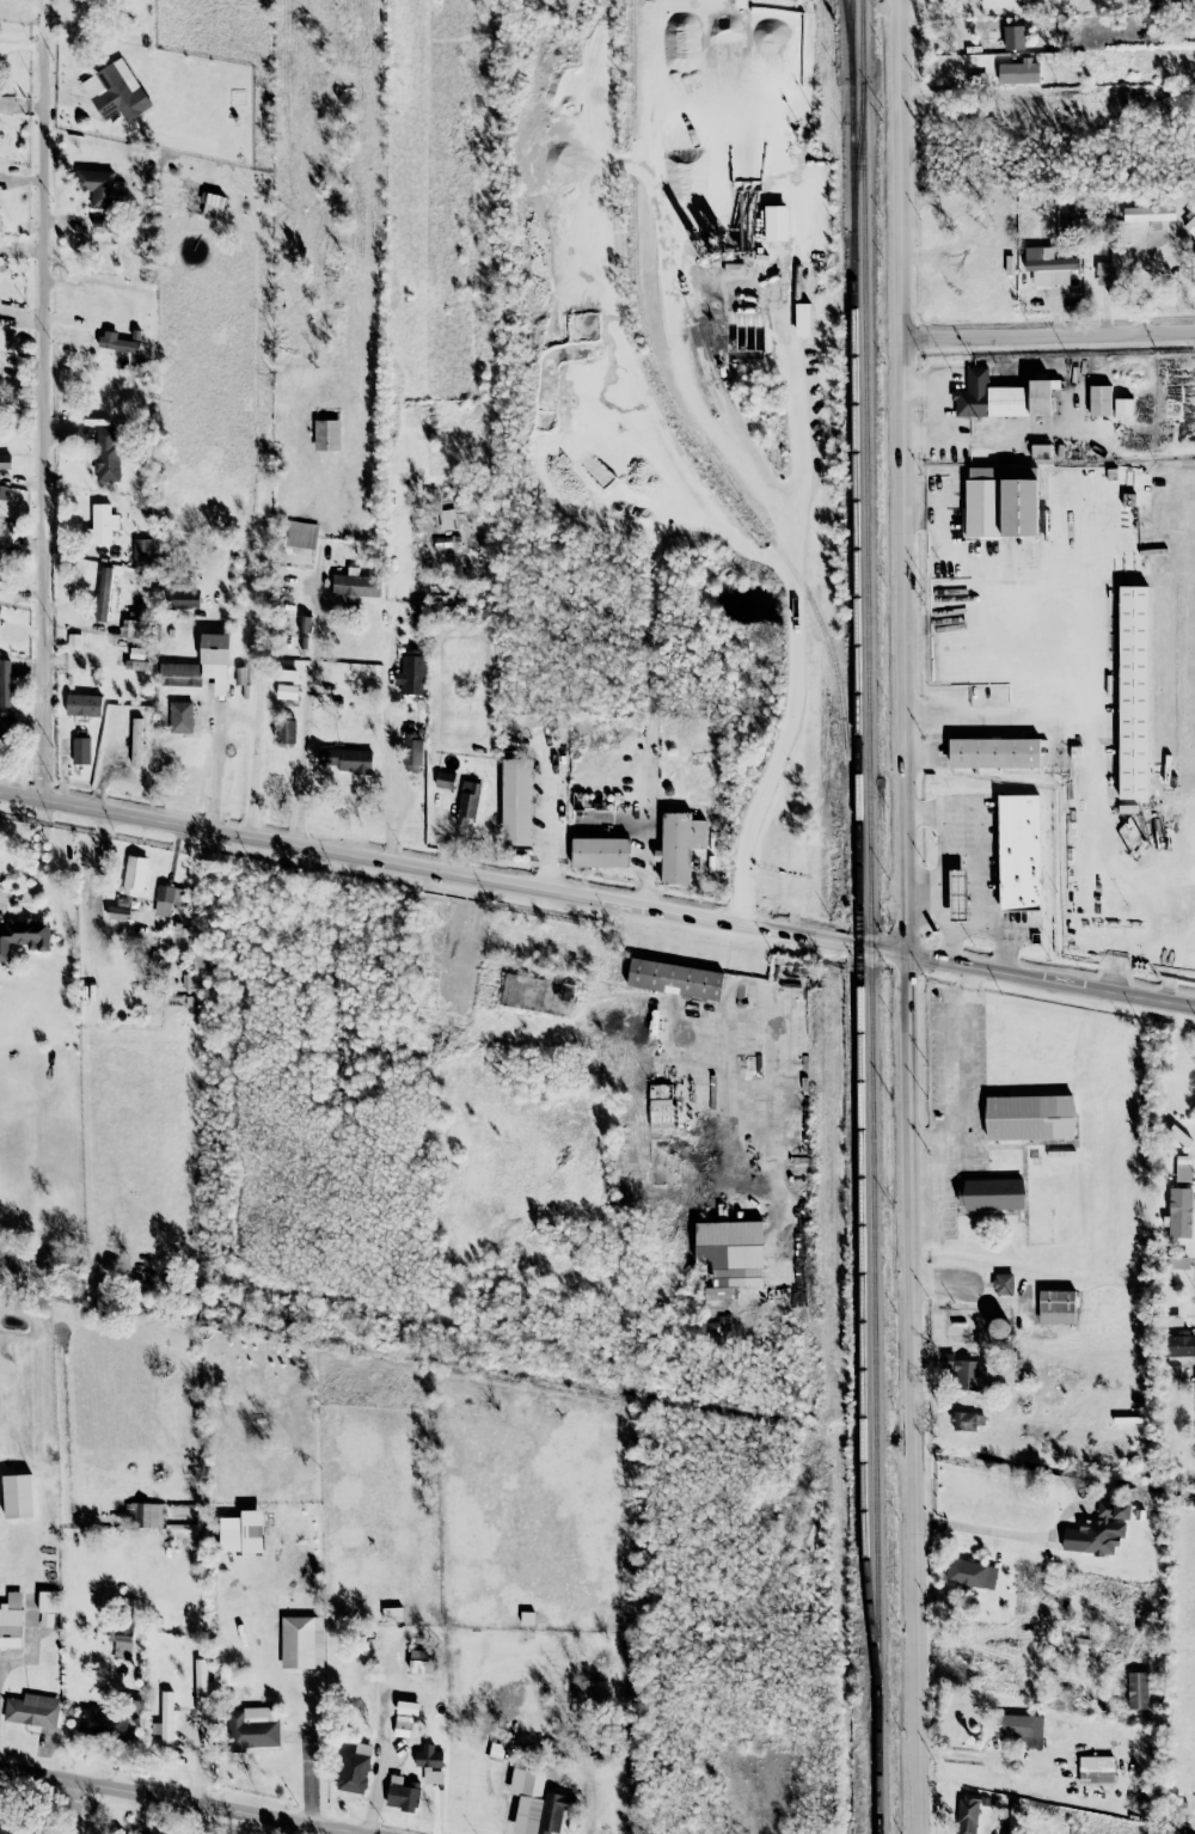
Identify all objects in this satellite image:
building: (1000, 2)
railway: (851, 30)
road: (828, 57)
building: (1018, 72)
building: (116, 91)
railway: (851, 100)
building: (6, 104)
building: (96, 185)
building: (212, 204)
building: (1148, 214)
building: (774, 222)
building: (1190, 225)
building: (1095, 227)
building: (1194, 244)
building: (1048, 265)
building: (735, 269)
railway: (635, 279)
road: (1145, 285)
road: (784, 312)
building: (802, 319)
road: (1047, 336)
building: (116, 342)
road: (48, 398)
building: (1040, 398)
building: (1102, 401)
building: (1122, 406)
building: (326, 435)
railway: (716, 451)
building: (105, 454)
building: (5, 461)
road: (768, 489)
building: (1, 505)
building: (1019, 507)
building: (100, 525)
building: (300, 534)
building: (4, 537)
building: (141, 551)
building: (355, 586)
building: (103, 594)
building: (182, 595)
building: (0, 607)
building: (417, 610)
road: (1090, 619)
building: (304, 624)
building: (131, 628)
building: (73, 641)
building: (135, 658)
building: (202, 665)
building: (411, 672)
building: (289, 675)
building: (5, 684)
building: (287, 691)
building: (1134, 692)
building: (82, 704)
building: (180, 716)
building: (7, 725)
building: (284, 730)
building: (135, 740)
building: (411, 744)
road: (302, 746)
building: (80, 751)
building: (995, 751)
building: (347, 759)
building: (443, 780)
road: (393, 787)
building: (468, 802)
building: (516, 802)
road: (645, 842)
building: (679, 845)
building: (601, 851)
building: (1019, 851)
road: (41, 862)
road: (942, 866)
building: (134, 875)
road: (979, 881)
road: (924, 893)
building: (960, 893)
road: (596, 897)
building: (167, 898)
railway: (858, 901)
building: (118, 913)
railway: (870, 916)
road: (906, 917)
road: (962, 927)
building: (24, 935)
building: (674, 979)
building: (537, 995)
building: (1030, 1115)
building: (1179, 1135)
road: (791, 1153)
building: (1183, 1168)
building: (993, 1194)
building: (1179, 1212)
building: (730, 1253)
building: (1177, 1263)
building: (1003, 1283)
building: (1056, 1307)
building: (999, 1327)
building: (1181, 1344)
building: (966, 1375)
building: (963, 1420)
building: (17, 1496)
building: (143, 1514)
building: (1098, 1530)
building: (241, 1532)
road: (994, 1536)
building: (970, 1573)
building: (47, 1608)
building: (391, 1614)
building: (11, 1620)
road: (30, 1642)
building: (302, 1643)
building: (419, 1661)
building: (200, 1686)
road: (288, 1689)
building: (1138, 1691)
building: (31, 1710)
building: (164, 1720)
building: (106, 1723)
building: (403, 1724)
building: (251, 1728)
building: (1022, 1729)
building: (495, 1752)
road: (382, 1754)
road: (981, 1757)
building: (429, 1763)
building: (354, 1768)
building: (1096, 1771)
building: (402, 1793)
road: (182, 1799)
road: (73, 1808)
building: (540, 1814)
building: (967, 1814)
building: (1013, 1821)
building: (10, 1828)

